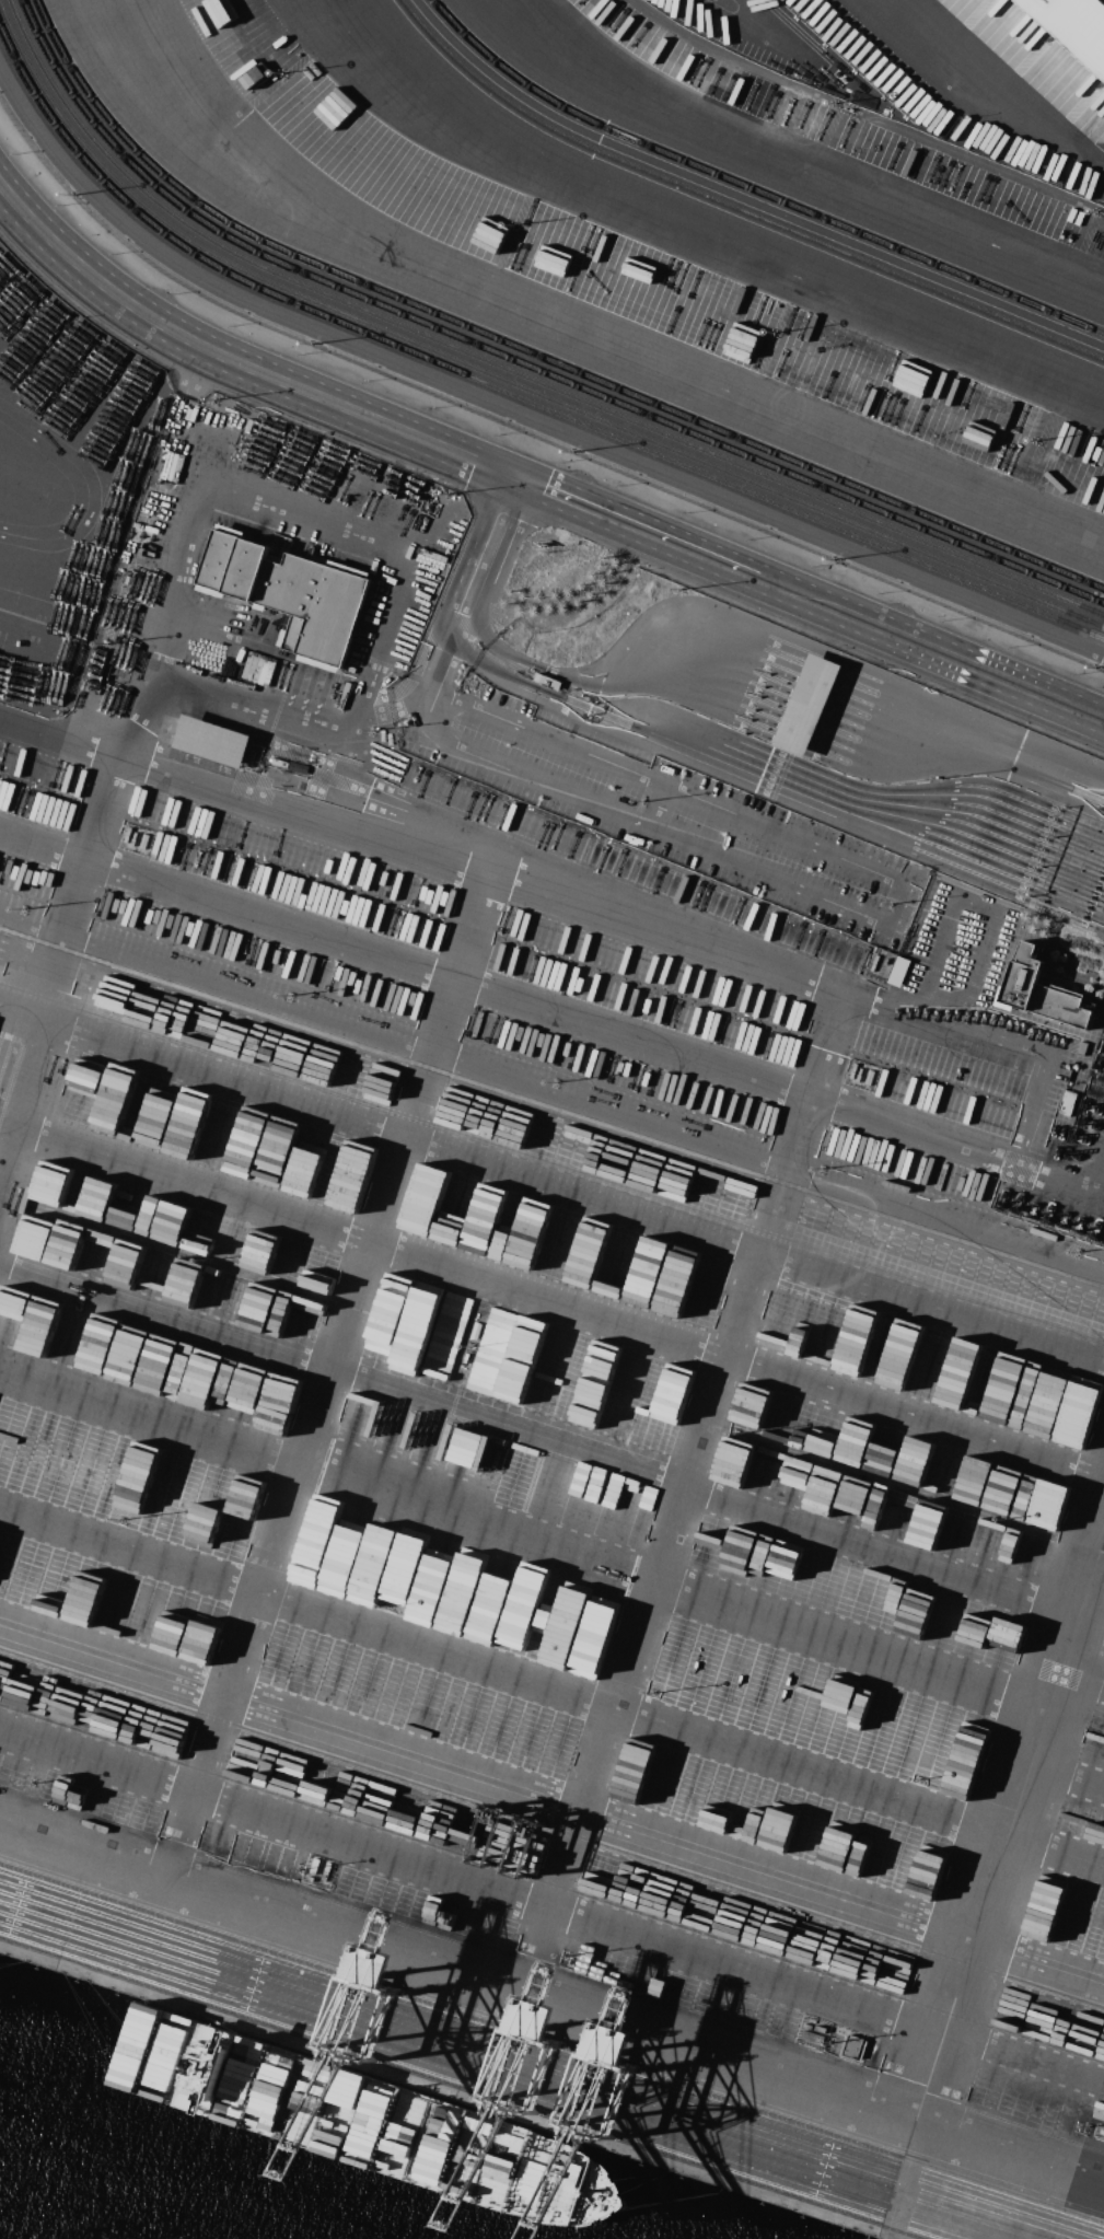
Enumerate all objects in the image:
road: (731, 22)
building: (1076, 25)
road: (985, 88)
street lamp: (16, 153)
road: (1102, 161)
road: (795, 164)
railway: (752, 192)
street lamp: (61, 205)
railway: (736, 206)
road: (700, 231)
street lamp: (115, 253)
street lamp: (173, 293)
street lamp: (233, 325)
road: (567, 335)
railway: (526, 351)
street lamp: (301, 353)
railway: (515, 361)
road: (240, 363)
railway: (509, 369)
road: (51, 374)
railway: (501, 379)
street lamp: (367, 381)
railway: (507, 392)
street lamp: (432, 407)
street lamp: (497, 434)
street lamp: (562, 462)
street lamp: (619, 485)
street lamp: (686, 512)
road: (664, 538)
street lamp: (749, 538)
road: (496, 545)
street lamp: (815, 566)
building: (289, 592)
street lamp: (881, 592)
street lamp: (946, 619)
road: (159, 634)
road: (785, 639)
street lamp: (1011, 647)
road: (954, 658)
street lamp: (1076, 673)
building: (807, 706)
road: (334, 721)
building: (212, 741)
road: (764, 791)
road: (237, 798)
road: (555, 883)
road: (894, 913)
building: (897, 971)
road: (931, 991)
building: (1042, 991)
road: (551, 1014)
road: (1000, 1036)
building: (1100, 1084)
road: (551, 1195)
road: (551, 1296)
road: (164, 1310)
road: (328, 1367)
road: (678, 1494)
road: (522, 1544)
road: (1096, 1590)
road: (1082, 1682)
road: (551, 1687)
road: (1067, 1774)
road: (551, 1800)
road: (1007, 1831)
road: (551, 1906)
road: (550, 2003)
building: (809, 2026)
building: (821, 2029)
building: (813, 2037)
building: (853, 2046)

